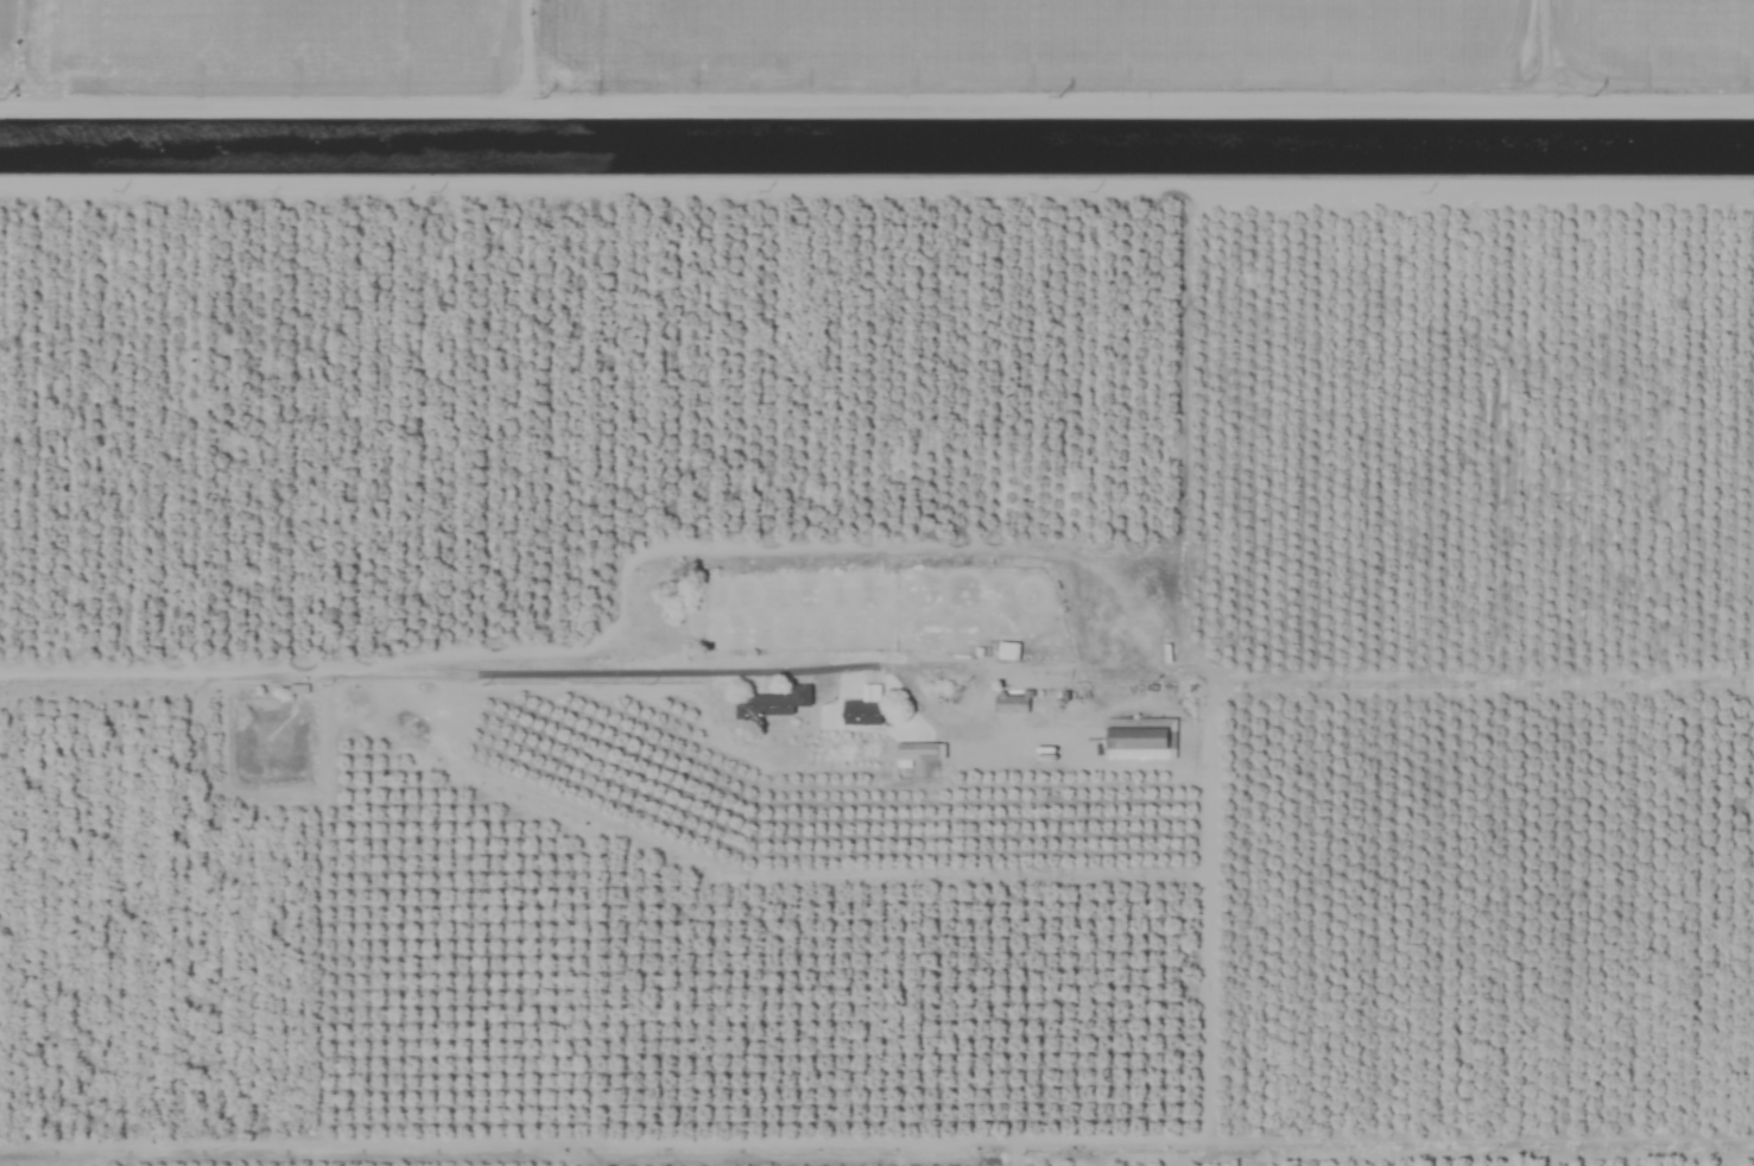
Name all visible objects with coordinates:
building: (1013, 653)
road: (236, 672)
road: (672, 672)
building: (772, 703)
building: (1011, 703)
building: (863, 711)
building: (1140, 739)
building: (919, 752)

